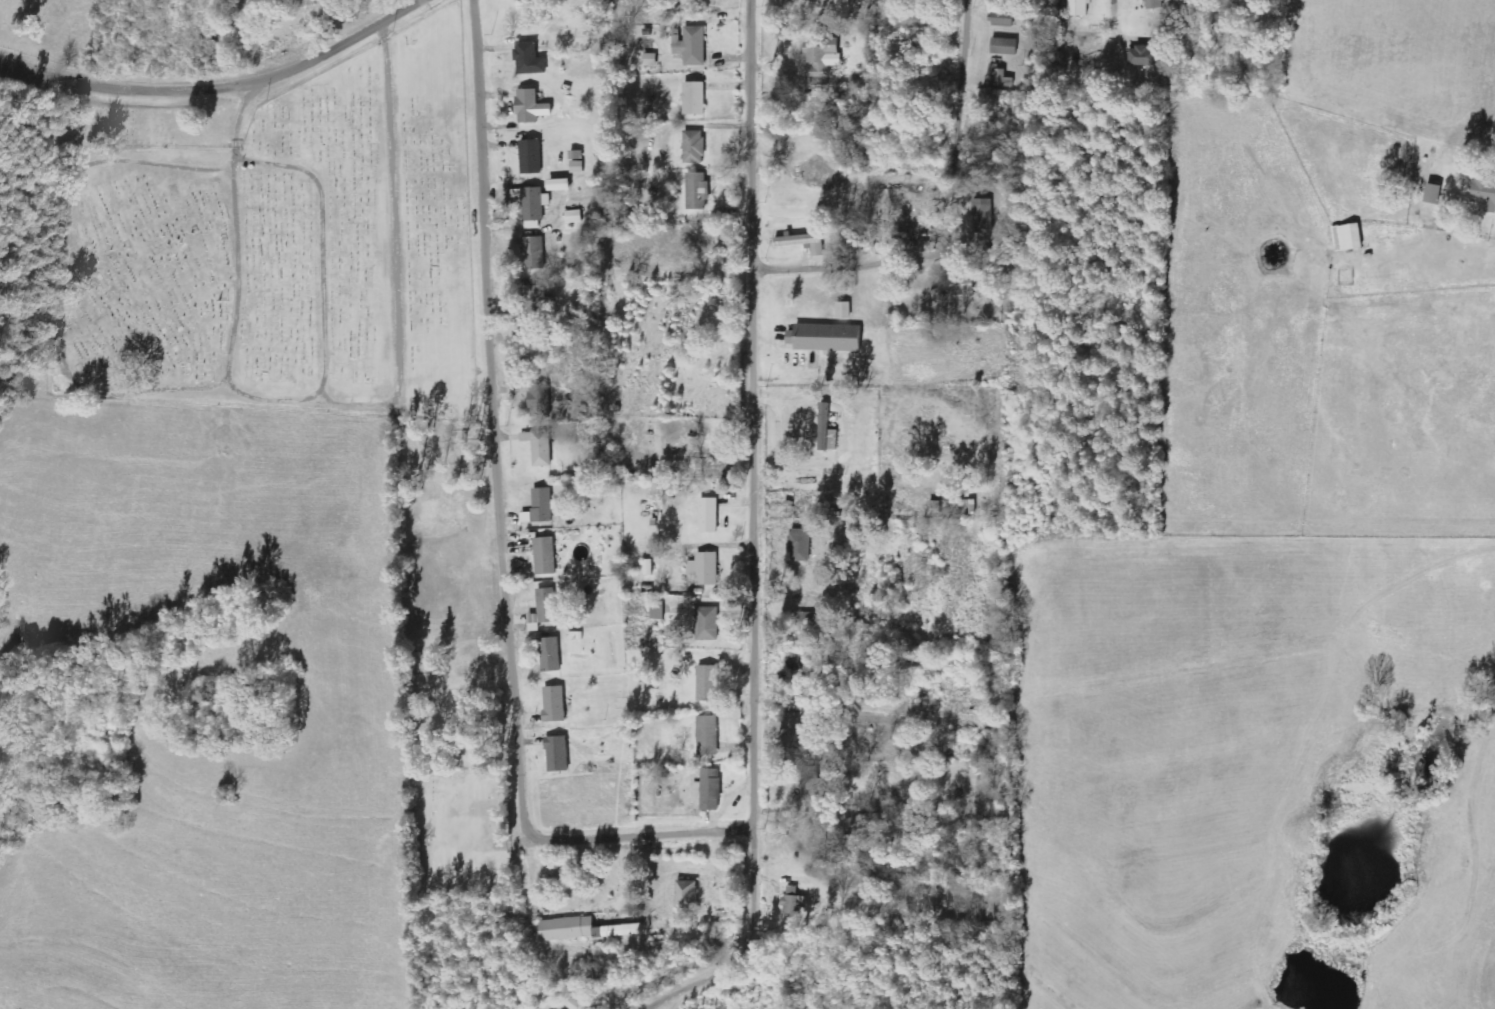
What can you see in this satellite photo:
building: (1155, 4)
building: (1078, 8)
building: (1003, 19)
road: (1119, 26)
building: (647, 46)
building: (691, 46)
building: (1004, 47)
building: (1143, 56)
building: (529, 59)
building: (825, 59)
building: (999, 78)
road: (219, 86)
building: (694, 99)
building: (527, 106)
road: (752, 134)
building: (694, 147)
building: (531, 157)
building: (559, 185)
building: (697, 191)
building: (1434, 194)
building: (1484, 195)
building: (534, 207)
building: (981, 216)
building: (574, 217)
road: (963, 226)
building: (1348, 238)
building: (797, 241)
park: (276, 243)
road: (322, 251)
building: (533, 253)
road: (62, 276)
building: (536, 301)
building: (826, 338)
road: (326, 395)
building: (538, 401)
road: (343, 406)
building: (827, 431)
building: (540, 448)
building: (540, 507)
building: (935, 507)
building: (963, 508)
building: (709, 516)
road: (503, 529)
building: (801, 542)
road: (754, 547)
building: (545, 557)
building: (649, 568)
building: (705, 569)
building: (544, 610)
building: (657, 611)
building: (802, 622)
building: (707, 624)
building: (550, 655)
building: (707, 684)
building: (554, 705)
building: (708, 736)
building: (558, 755)
building: (709, 790)
building: (687, 895)
building: (793, 902)
road: (747, 943)

